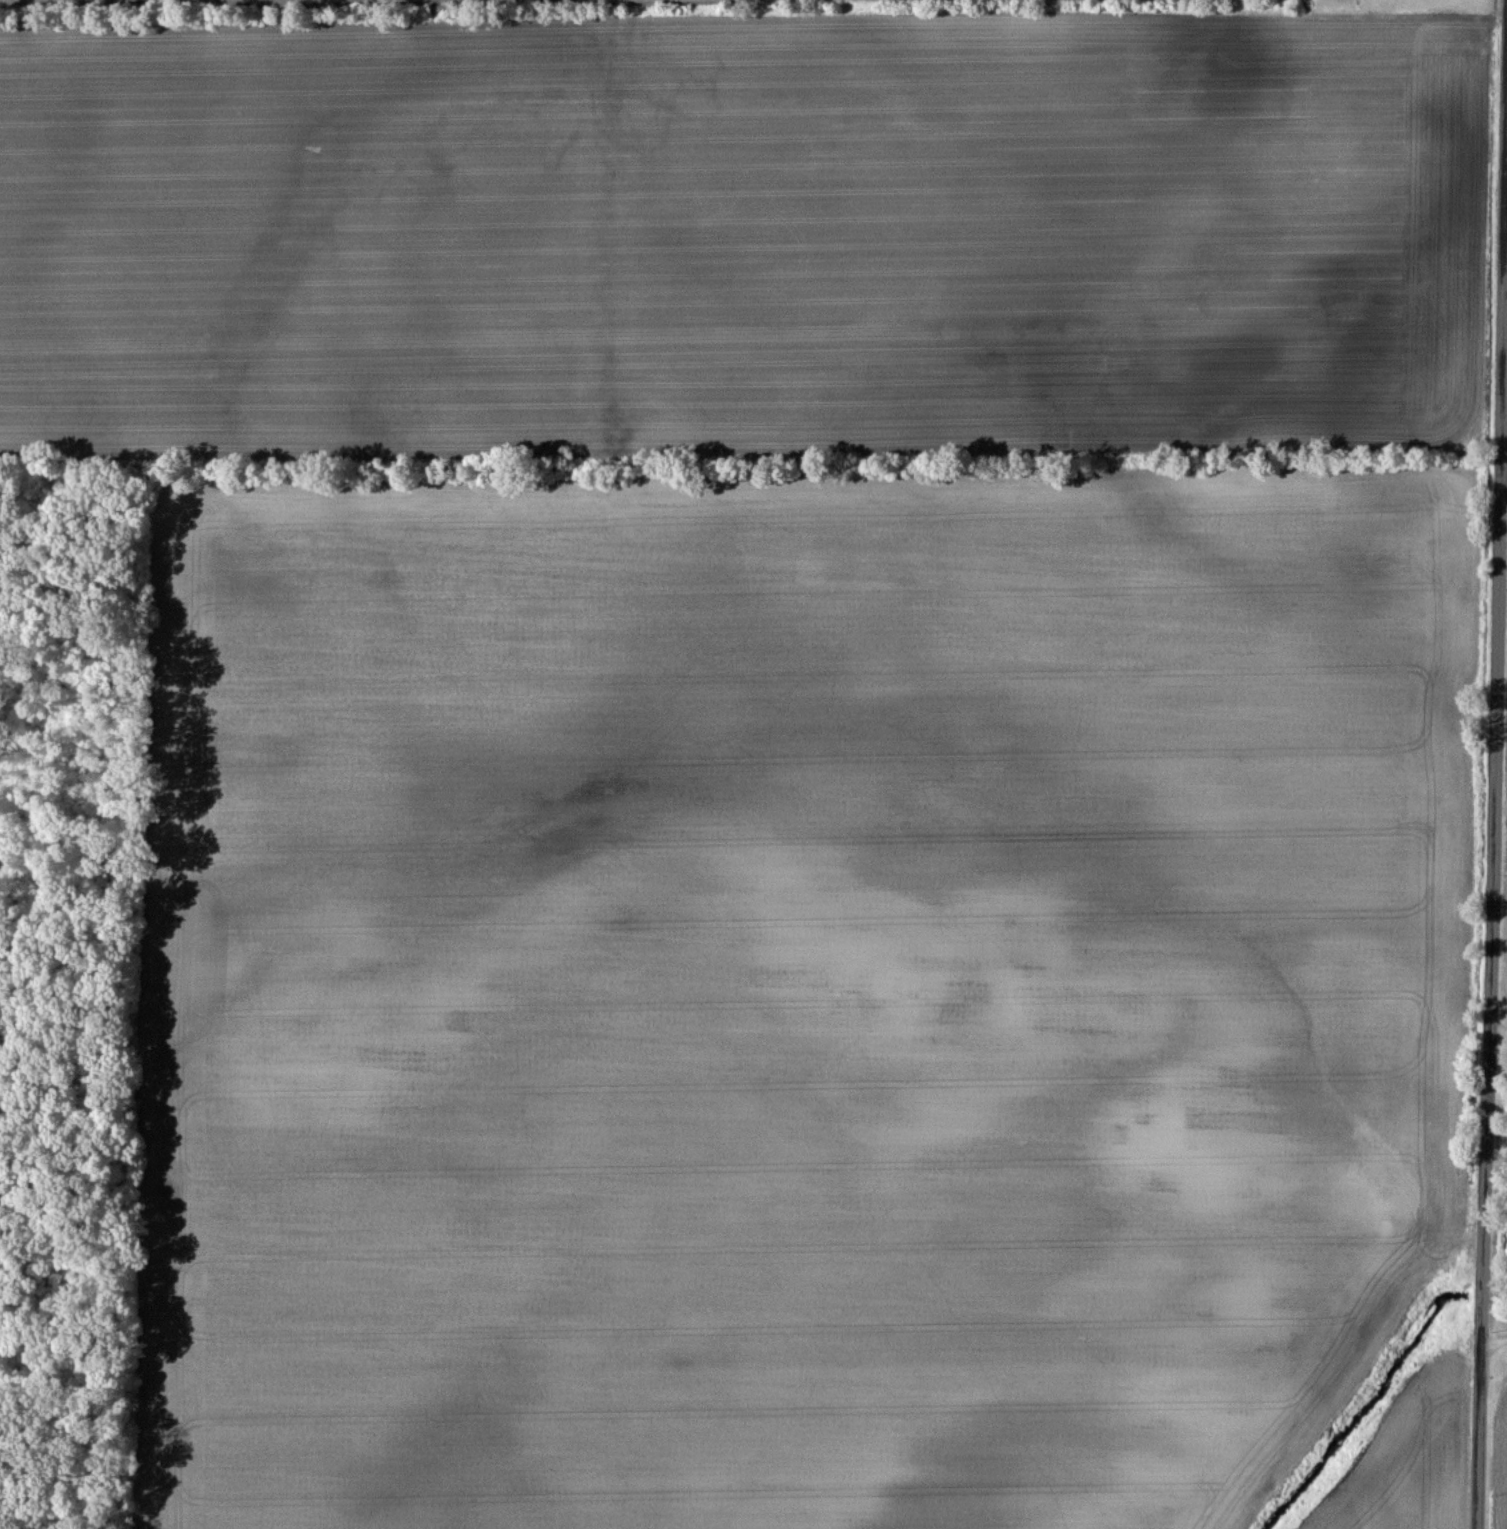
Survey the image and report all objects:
road: (1486, 764)
road: (1493, 1025)
road: (1489, 1335)

